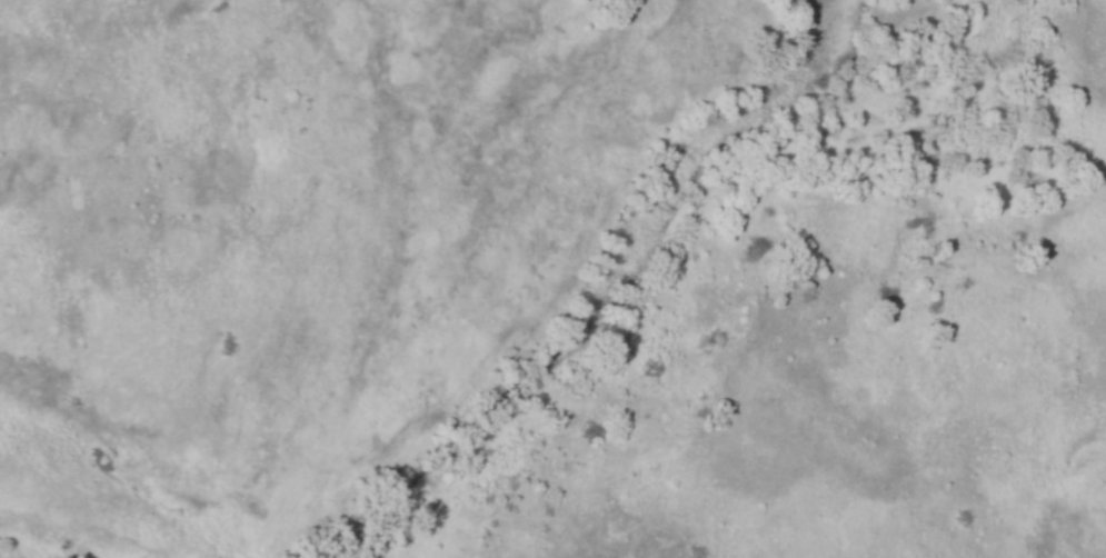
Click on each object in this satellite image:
park: (552, 279)

